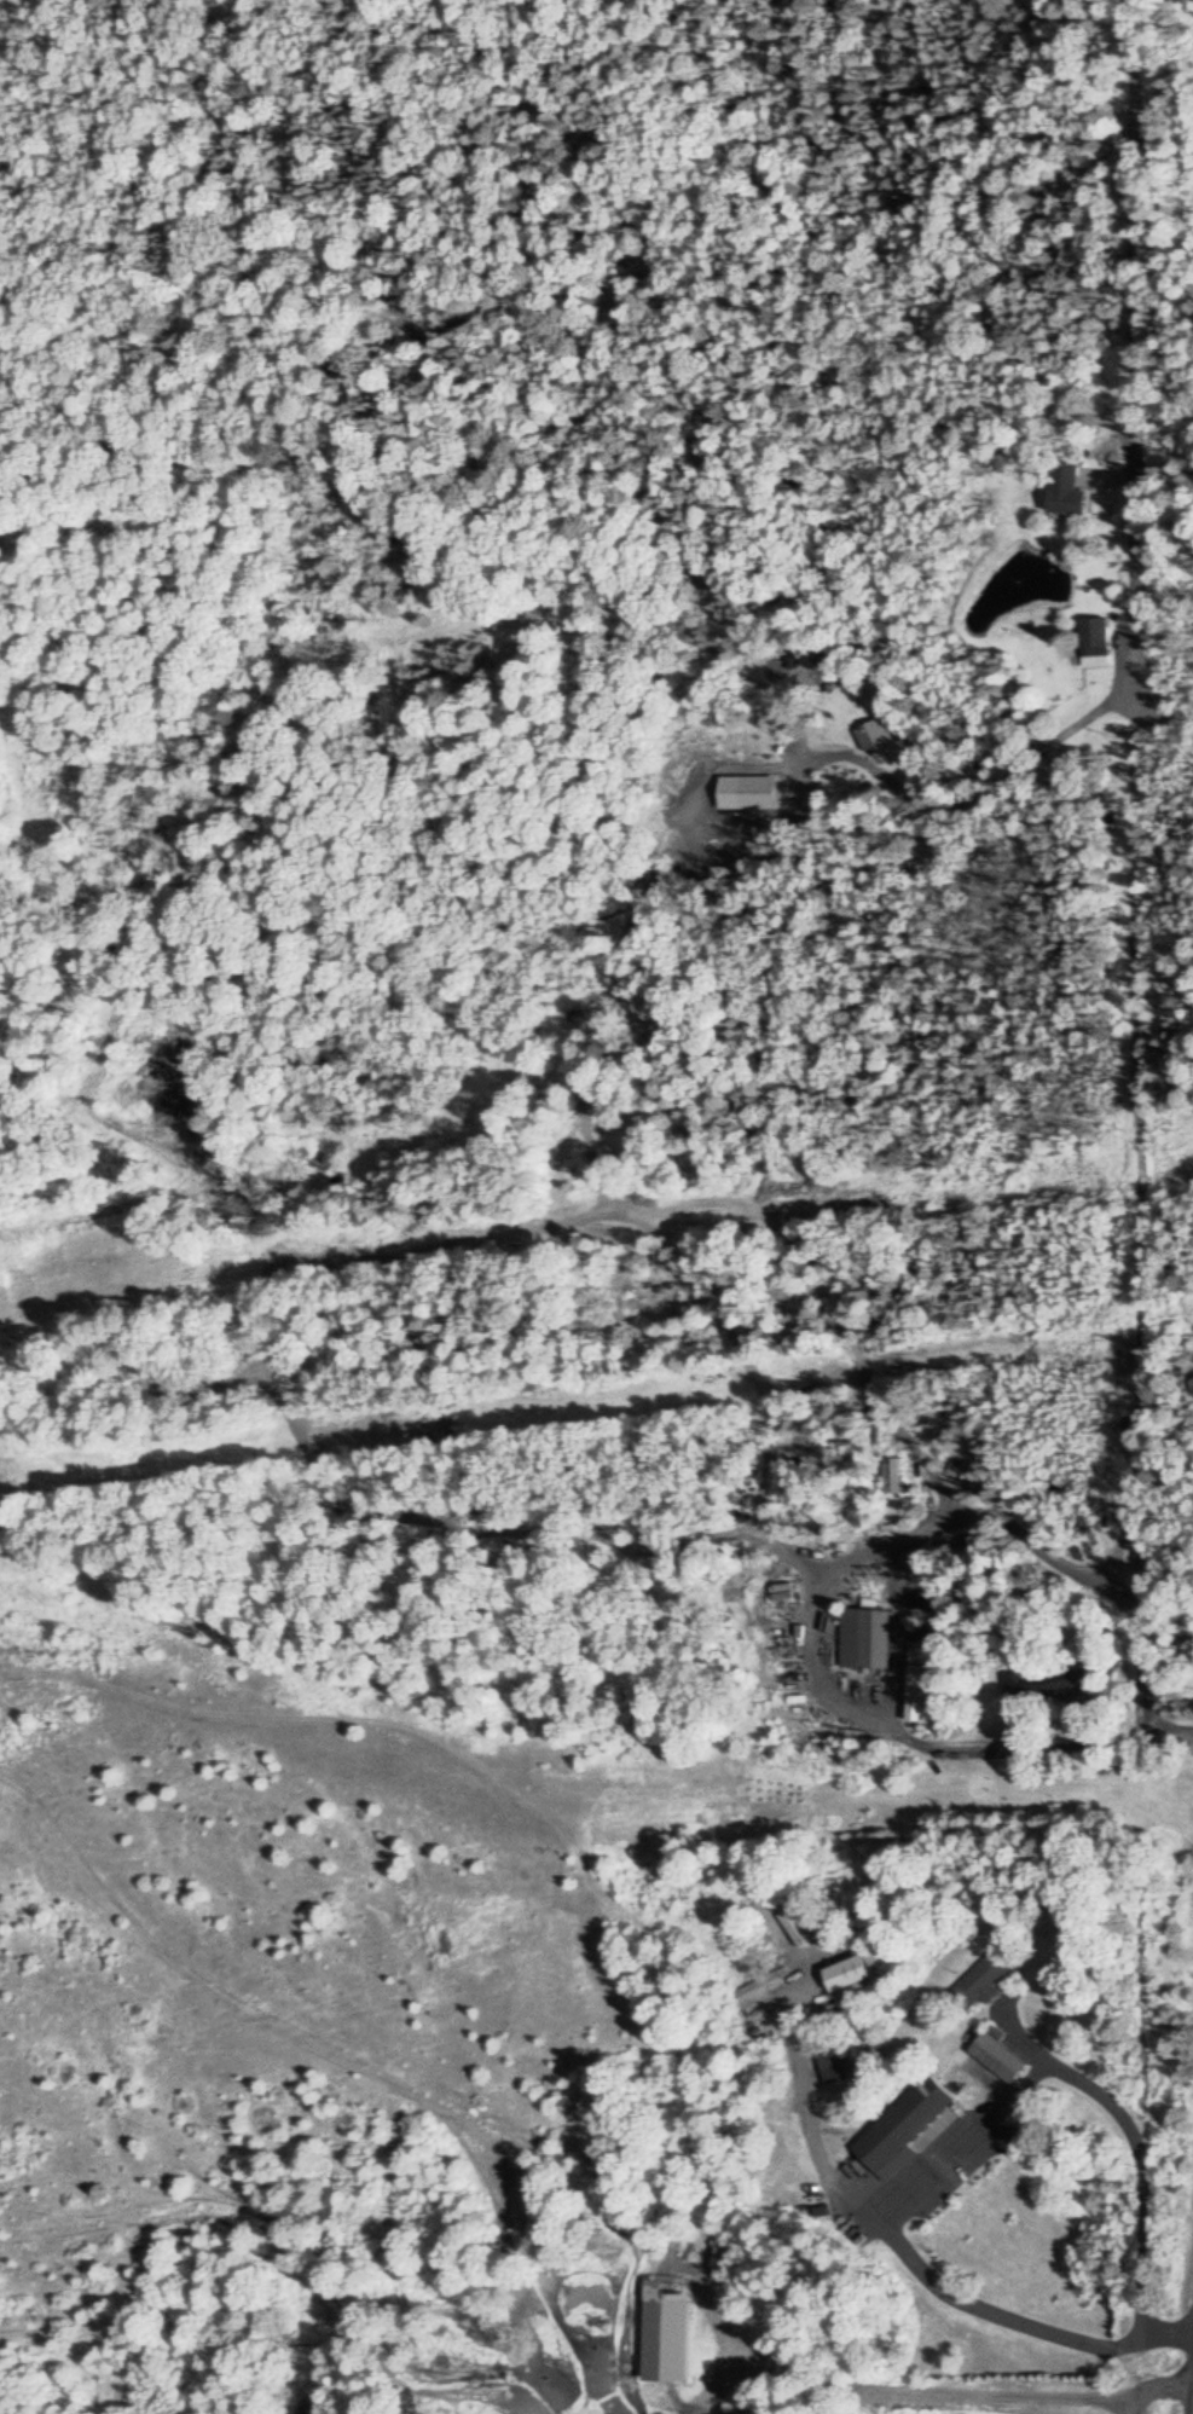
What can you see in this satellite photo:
road: (1119, 69)
road: (1128, 417)
building: (1066, 492)
building: (1094, 643)
road: (1053, 729)
building: (882, 741)
building: (891, 1476)
building: (811, 1507)
building: (862, 1640)
building: (911, 1685)
building: (1047, 1685)
road: (867, 1723)
building: (981, 1981)
building: (992, 2065)
building: (835, 2066)
building: (908, 2130)
road: (1131, 2140)
road: (920, 2268)

